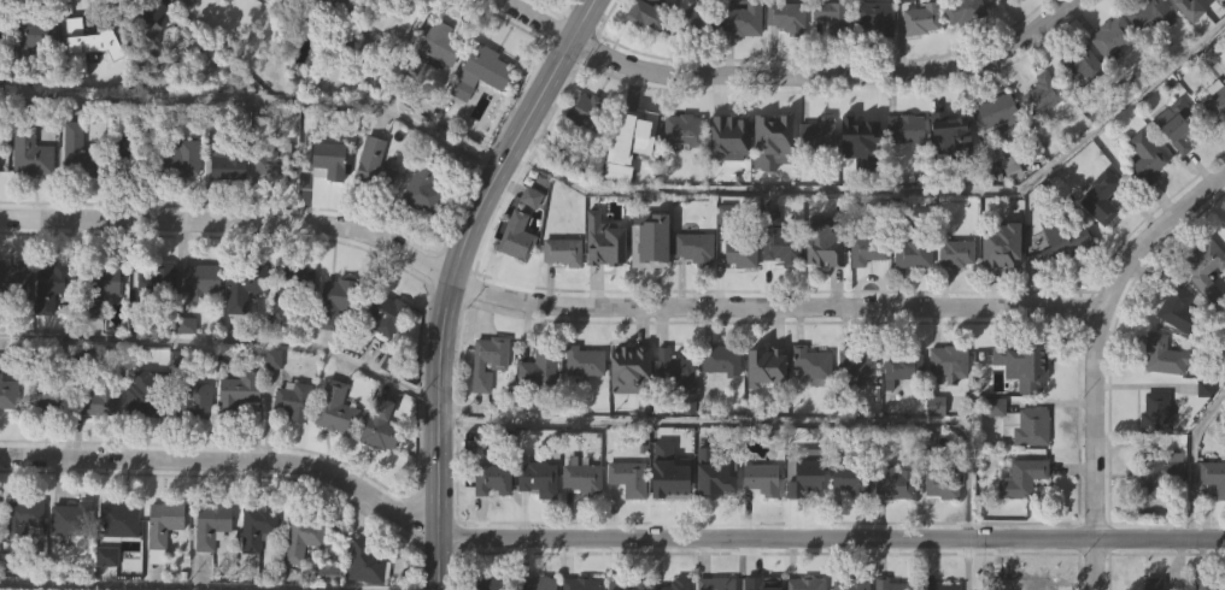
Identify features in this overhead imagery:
building: (1174, 0)
building: (200, 1)
building: (514, 2)
building: (1206, 4)
building: (324, 7)
building: (1034, 7)
building: (961, 10)
building: (646, 12)
building: (1145, 12)
building: (146, 13)
building: (830, 13)
building: (391, 16)
building: (547, 16)
road: (547, 16)
building: (785, 16)
building: (921, 16)
building: (872, 17)
building: (740, 18)
building: (172, 20)
building: (697, 20)
building: (902, 29)
building: (1001, 33)
building: (1110, 35)
building: (96, 37)
building: (29, 39)
building: (1178, 41)
building: (328, 46)
building: (429, 48)
building: (644, 54)
building: (960, 58)
building: (1079, 63)
building: (1148, 63)
building: (783, 66)
building: (828, 66)
building: (872, 66)
building: (739, 69)
building: (919, 69)
building: (392, 70)
building: (477, 70)
building: (694, 72)
road: (828, 73)
building: (1108, 85)
building: (25, 87)
building: (87, 89)
building: (1042, 92)
building: (439, 94)
road: (259, 96)
building: (1214, 101)
building: (584, 110)
building: (996, 111)
building: (1077, 114)
building: (479, 122)
building: (950, 122)
building: (1176, 122)
building: (634, 125)
building: (680, 128)
building: (727, 128)
building: (770, 128)
building: (903, 129)
building: (4, 130)
building: (857, 130)
building: (814, 132)
building: (1039, 143)
building: (28, 149)
building: (1214, 149)
building: (76, 152)
building: (1143, 155)
building: (128, 158)
building: (183, 158)
building: (270, 160)
building: (227, 161)
building: (584, 161)
building: (321, 164)
building: (995, 164)
building: (371, 166)
building: (948, 175)
building: (1174, 176)
building: (679, 179)
building: (856, 179)
building: (902, 179)
building: (815, 183)
building: (421, 185)
road: (892, 187)
building: (726, 188)
building: (627, 190)
building: (768, 191)
building: (1100, 196)
building: (121, 199)
building: (76, 203)
building: (28, 206)
building: (1143, 208)
building: (180, 210)
building: (322, 214)
building: (371, 214)
building: (269, 216)
building: (224, 217)
building: (1007, 217)
building: (1224, 223)
building: (514, 235)
building: (1061, 238)
building: (776, 240)
building: (421, 241)
building: (605, 241)
building: (828, 241)
building: (692, 247)
building: (1003, 247)
building: (1097, 248)
building: (559, 249)
building: (866, 249)
building: (912, 249)
building: (649, 250)
building: (739, 250)
building: (955, 252)
building: (1203, 258)
building: (1223, 276)
road: (453, 278)
building: (201, 279)
building: (13, 281)
building: (48, 284)
building: (240, 284)
building: (287, 284)
building: (96, 285)
building: (514, 287)
building: (1065, 288)
building: (773, 289)
building: (646, 290)
building: (152, 291)
building: (602, 291)
building: (821, 293)
building: (997, 295)
building: (691, 297)
building: (333, 299)
building: (864, 300)
road: (545, 301)
building: (559, 301)
building: (909, 302)
building: (953, 303)
building: (1176, 307)
building: (382, 313)
building: (1201, 315)
building: (14, 324)
building: (297, 325)
building: (152, 329)
building: (198, 331)
building: (102, 332)
building: (49, 336)
road: (224, 340)
building: (239, 340)
building: (334, 350)
road: (1092, 355)
building: (1161, 355)
building: (719, 359)
building: (1021, 359)
building: (485, 360)
building: (581, 360)
building: (946, 360)
building: (809, 362)
building: (381, 364)
building: (901, 365)
building: (535, 366)
building: (674, 367)
building: (769, 368)
building: (852, 368)
building: (632, 370)
building: (183, 376)
building: (42, 390)
building: (235, 390)
building: (7, 394)
building: (98, 396)
building: (291, 400)
building: (143, 401)
building: (193, 401)
building: (333, 407)
building: (270, 408)
building: (719, 409)
building: (485, 411)
building: (581, 411)
building: (1154, 412)
building: (944, 413)
building: (763, 414)
building: (808, 414)
building: (854, 417)
building: (899, 418)
building: (535, 419)
building: (627, 419)
building: (673, 420)
road: (755, 421)
building: (1020, 421)
building: (376, 425)
building: (236, 441)
building: (7, 444)
building: (40, 449)
building: (95, 450)
building: (192, 450)
building: (292, 450)
building: (139, 452)
building: (932, 455)
building: (333, 456)
road: (1191, 460)
building: (1160, 468)
building: (1213, 476)
building: (379, 477)
building: (488, 477)
building: (626, 477)
building: (1020, 477)
building: (534, 478)
building: (581, 478)
building: (716, 478)
building: (760, 479)
building: (849, 479)
building: (803, 480)
building: (892, 480)
building: (670, 483)
building: (940, 484)
building: (117, 517)
building: (17, 518)
building: (68, 518)
building: (209, 524)
building: (254, 525)
building: (1156, 526)
building: (159, 527)
building: (490, 527)
building: (626, 527)
building: (1019, 527)
building: (1212, 527)
building: (535, 529)
building: (582, 529)
building: (758, 529)
building: (845, 529)
building: (715, 531)
building: (802, 531)
building: (890, 531)
building: (668, 533)
building: (939, 536)
building: (299, 537)
road: (603, 538)
building: (364, 564)
road: (967, 564)
building: (18, 567)
building: (118, 567)
building: (69, 568)
building: (162, 568)
building: (210, 571)
building: (257, 573)
building: (303, 579)
building: (491, 583)
building: (534, 583)
building: (584, 583)
building: (675, 583)
building: (713, 583)
building: (764, 583)
building: (850, 583)
building: (1018, 583)
building: (1151, 583)
building: (1209, 583)
building: (626, 584)
building: (803, 584)
building: (889, 584)
building: (933, 584)
building: (356, 589)

